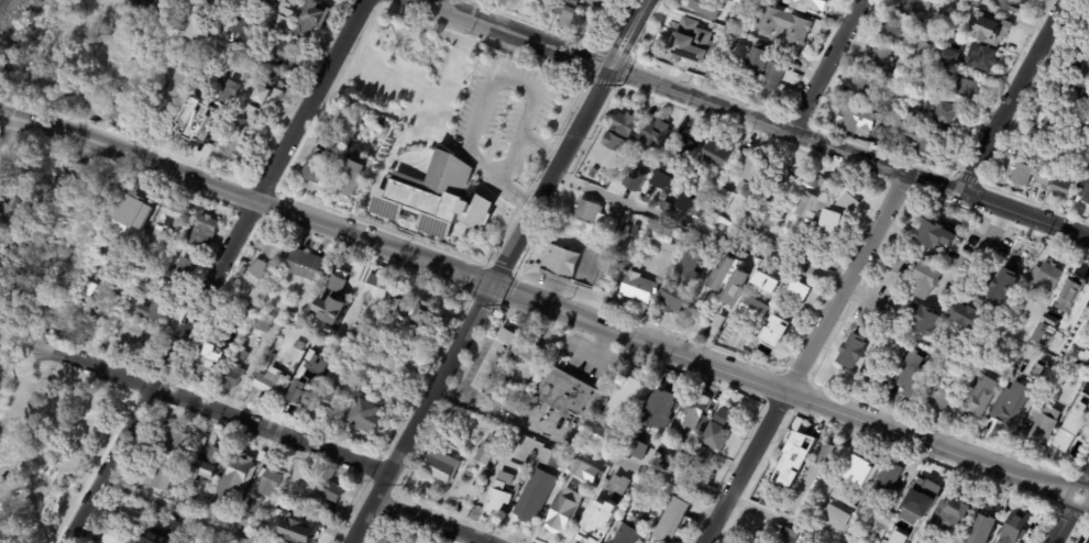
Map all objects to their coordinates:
railway: (0, 0)
building: (954, 0)
building: (575, 1)
building: (777, 1)
building: (240, 2)
building: (598, 2)
building: (817, 2)
building: (971, 2)
building: (273, 3)
building: (142, 4)
building: (914, 4)
building: (1005, 5)
building: (711, 8)
building: (744, 9)
building: (175, 11)
road: (495, 12)
building: (537, 14)
building: (286, 16)
building: (574, 18)
building: (316, 20)
building: (939, 20)
building: (245, 21)
building: (207, 24)
building: (785, 24)
building: (891, 26)
building: (992, 31)
road: (515, 33)
road: (628, 34)
building: (87, 38)
building: (1088, 45)
building: (130, 49)
building: (695, 49)
building: (923, 49)
building: (283, 52)
building: (879, 56)
building: (941, 57)
building: (976, 58)
building: (761, 59)
building: (1079, 63)
road: (826, 66)
road: (257, 69)
park: (409, 76)
building: (776, 76)
building: (928, 84)
building: (187, 85)
power tower: (621, 85)
building: (864, 85)
road: (487, 88)
building: (960, 90)
building: (1074, 93)
building: (233, 95)
road: (311, 96)
road: (1012, 96)
building: (271, 100)
building: (892, 108)
building: (910, 113)
building: (945, 117)
building: (1050, 119)
building: (197, 120)
building: (859, 121)
building: (245, 123)
road: (45, 124)
building: (1086, 125)
road: (784, 130)
building: (385, 131)
building: (623, 131)
building: (211, 133)
building: (657, 133)
building: (899, 133)
road: (10, 136)
building: (329, 141)
road: (99, 142)
building: (922, 143)
building: (240, 149)
building: (1043, 152)
road: (506, 153)
building: (683, 153)
building: (719, 153)
building: (609, 163)
road: (158, 164)
building: (319, 166)
building: (755, 170)
building: (1021, 175)
building: (352, 177)
building: (604, 177)
building: (635, 178)
building: (1041, 178)
building: (665, 179)
building: (781, 180)
road: (229, 185)
building: (23, 187)
building: (1060, 189)
building: (1085, 190)
road: (227, 193)
building: (113, 197)
building: (820, 197)
building: (727, 198)
building: (436, 199)
road: (262, 202)
building: (26, 206)
building: (669, 206)
building: (844, 208)
building: (9, 211)
building: (598, 212)
building: (135, 213)
road: (1024, 214)
building: (716, 215)
building: (175, 217)
road: (305, 218)
building: (772, 220)
building: (2, 225)
building: (207, 231)
road: (697, 231)
building: (634, 232)
building: (668, 234)
building: (933, 234)
building: (619, 244)
road: (982, 245)
building: (789, 246)
building: (497, 248)
building: (813, 251)
building: (143, 252)
building: (737, 256)
building: (267, 262)
building: (752, 262)
building: (576, 263)
building: (307, 264)
building: (694, 267)
building: (183, 273)
building: (721, 273)
road: (217, 274)
building: (351, 275)
building: (779, 277)
building: (1045, 278)
building: (337, 280)
building: (925, 280)
building: (767, 281)
building: (1002, 286)
building: (380, 287)
building: (642, 287)
building: (90, 288)
building: (734, 288)
building: (795, 291)
building: (1072, 293)
building: (341, 297)
building: (679, 297)
building: (727, 298)
building: (395, 303)
road: (480, 304)
power tower: (499, 304)
building: (1088, 304)
building: (329, 307)
building: (95, 308)
building: (754, 308)
building: (154, 309)
building: (290, 313)
building: (429, 313)
building: (493, 315)
building: (964, 315)
building: (257, 317)
building: (920, 319)
building: (1045, 322)
building: (327, 323)
building: (266, 324)
building: (364, 328)
building: (777, 329)
building: (124, 334)
building: (232, 341)
building: (282, 343)
building: (903, 343)
building: (300, 345)
building: (851, 352)
building: (242, 353)
road: (686, 353)
road: (803, 357)
building: (530, 359)
building: (499, 362)
building: (1044, 362)
building: (205, 364)
building: (1036, 373)
road: (158, 374)
building: (909, 374)
building: (234, 376)
building: (956, 377)
building: (273, 384)
building: (309, 388)
building: (572, 395)
building: (936, 395)
building: (979, 395)
building: (332, 400)
building: (626, 402)
building: (508, 403)
building: (1010, 406)
road: (211, 407)
building: (659, 409)
building: (693, 411)
building: (367, 414)
road: (77, 419)
building: (1042, 423)
building: (723, 428)
building: (609, 437)
building: (370, 440)
building: (1065, 440)
park: (61, 441)
building: (796, 445)
building: (491, 448)
building: (687, 448)
building: (638, 451)
building: (552, 456)
building: (705, 456)
building: (825, 456)
building: (175, 457)
building: (442, 465)
building: (207, 467)
road: (640, 467)
building: (590, 470)
building: (860, 470)
building: (486, 473)
building: (240, 476)
road: (1086, 479)
building: (887, 481)
building: (272, 484)
power tower: (400, 484)
building: (617, 484)
building: (519, 487)
building: (330, 490)
building: (502, 492)
building: (536, 495)
road: (1066, 496)
building: (187, 500)
building: (266, 501)
building: (311, 503)
building: (922, 505)
road: (187, 510)
building: (566, 510)
building: (846, 511)
building: (249, 512)
building: (132, 516)
building: (675, 519)
building: (883, 519)
road: (25, 521)
building: (944, 521)
road: (431, 522)
building: (595, 524)
road: (1063, 524)
building: (839, 527)
building: (1013, 527)
building: (980, 530)
building: (300, 531)
building: (630, 531)
building: (175, 532)
building: (117, 536)
building: (155, 538)
building: (749, 539)
building: (785, 539)
building: (1087, 540)
building: (387, 541)
building: (806, 541)

